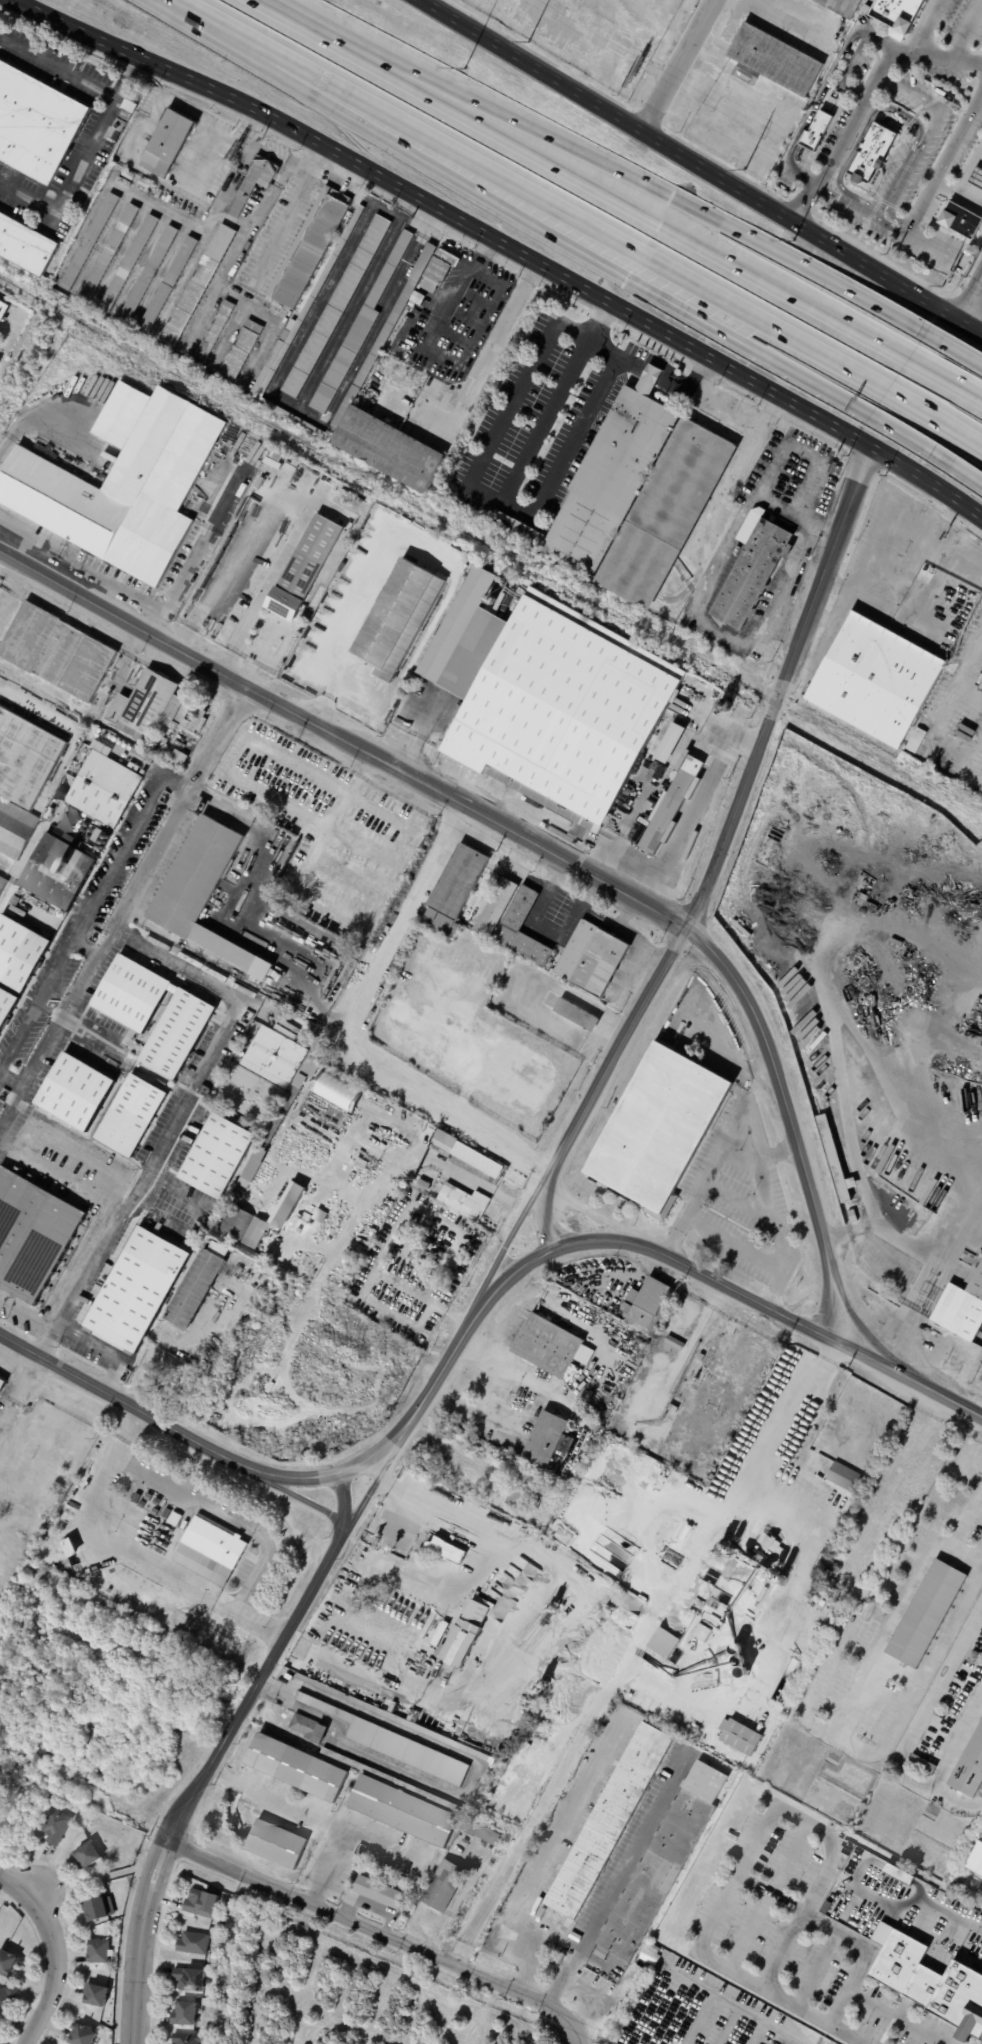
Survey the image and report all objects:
building: (841, 7)
road: (190, 13)
building: (896, 13)
road: (315, 27)
road: (966, 29)
road: (61, 37)
road: (248, 47)
road: (853, 57)
road: (946, 57)
building: (775, 60)
road: (57, 64)
road: (676, 67)
road: (132, 70)
building: (742, 76)
building: (939, 93)
road: (191, 95)
building: (127, 103)
road: (861, 105)
road: (813, 109)
building: (39, 117)
road: (252, 123)
road: (146, 124)
road: (246, 127)
building: (816, 132)
parking lot: (899, 133)
road: (925, 137)
road: (282, 139)
building: (168, 141)
road: (857, 142)
road: (204, 153)
road: (276, 153)
building: (870, 156)
road: (77, 159)
road: (319, 160)
road: (331, 165)
road: (698, 170)
building: (129, 175)
building: (975, 179)
building: (145, 183)
building: (254, 183)
road: (929, 187)
road: (377, 190)
road: (656, 190)
road: (411, 194)
road: (961, 198)
building: (253, 202)
road: (858, 208)
road: (419, 213)
road: (641, 214)
road: (891, 216)
building: (961, 221)
road: (284, 224)
road: (459, 235)
building: (91, 238)
building: (26, 246)
building: (308, 248)
road: (484, 249)
building: (111, 250)
road: (234, 252)
road: (635, 254)
building: (129, 261)
road: (507, 261)
building: (149, 271)
road: (613, 272)
road: (531, 275)
building: (169, 284)
building: (198, 285)
road: (566, 294)
road: (970, 302)
building: (337, 305)
building: (3, 311)
building: (548, 314)
road: (603, 314)
building: (216, 329)
building: (359, 329)
road: (427, 341)
road: (652, 342)
building: (241, 349)
building: (388, 349)
road: (19, 352)
building: (402, 354)
road: (961, 354)
building: (275, 362)
road: (704, 370)
road: (475, 373)
road: (672, 385)
road: (952, 386)
road: (740, 390)
road: (771, 408)
road: (39, 414)
road: (743, 423)
road: (817, 432)
building: (274, 456)
road: (864, 462)
road: (896, 462)
building: (270, 463)
building: (294, 463)
building: (269, 470)
road: (966, 474)
building: (253, 479)
building: (122, 481)
road: (905, 484)
road: (299, 491)
building: (634, 495)
road: (937, 504)
road: (775, 505)
road: (514, 506)
road: (745, 507)
road: (954, 515)
road: (973, 528)
road: (939, 545)
road: (201, 546)
railway: (491, 548)
road: (80, 565)
building: (751, 569)
building: (300, 576)
road: (837, 582)
road: (779, 583)
road: (851, 591)
building: (506, 600)
road: (820, 617)
building: (395, 618)
road: (338, 632)
building: (58, 652)
building: (752, 658)
building: (756, 659)
building: (873, 680)
building: (546, 699)
building: (156, 708)
road: (943, 718)
building: (102, 733)
building: (164, 739)
building: (915, 740)
building: (121, 743)
building: (153, 746)
building: (117, 747)
building: (162, 756)
building: (26, 758)
building: (180, 758)
building: (653, 768)
building: (105, 788)
building: (676, 792)
road: (692, 808)
building: (15, 828)
road: (728, 832)
road: (537, 852)
building: (58, 870)
building: (2, 883)
building: (459, 890)
building: (204, 894)
building: (498, 907)
road: (121, 908)
road: (235, 908)
road: (89, 911)
building: (520, 912)
road: (401, 920)
road: (84, 947)
building: (19, 952)
building: (597, 960)
road: (216, 988)
building: (435, 989)
building: (445, 993)
building: (6, 1005)
building: (577, 1015)
building: (186, 1020)
road: (722, 1052)
road: (10, 1079)
building: (339, 1081)
building: (335, 1088)
building: (300, 1089)
building: (77, 1092)
road: (437, 1097)
building: (323, 1113)
building: (132, 1115)
road: (748, 1126)
building: (654, 1127)
building: (446, 1140)
road: (161, 1147)
road: (775, 1155)
building: (219, 1156)
road: (411, 1158)
building: (833, 1162)
building: (364, 1163)
building: (252, 1171)
building: (427, 1185)
building: (438, 1187)
road: (178, 1194)
road: (738, 1200)
building: (465, 1201)
road: (126, 1211)
road: (160, 1217)
building: (851, 1217)
building: (237, 1223)
road: (542, 1223)
building: (282, 1228)
road: (885, 1230)
building: (258, 1234)
building: (32, 1235)
building: (291, 1241)
road: (731, 1247)
road: (510, 1248)
road: (508, 1271)
road: (935, 1285)
building: (197, 1287)
building: (136, 1290)
building: (567, 1301)
road: (764, 1303)
building: (647, 1305)
building: (961, 1309)
road: (28, 1313)
road: (167, 1345)
building: (672, 1345)
building: (550, 1346)
road: (97, 1350)
building: (645, 1361)
building: (981, 1374)
building: (2, 1383)
road: (22, 1387)
road: (486, 1397)
building: (672, 1408)
road: (793, 1408)
road: (179, 1419)
road: (981, 1419)
building: (545, 1439)
building: (727, 1460)
building: (843, 1477)
building: (522, 1487)
road: (461, 1519)
road: (965, 1520)
building: (920, 1529)
building: (767, 1542)
building: (211, 1548)
building: (444, 1550)
building: (778, 1550)
road: (94, 1555)
building: (670, 1561)
road: (324, 1570)
building: (926, 1614)
building: (699, 1633)
building: (464, 1637)
building: (436, 1641)
building: (661, 1643)
road: (893, 1671)
road: (853, 1688)
road: (923, 1715)
building: (393, 1719)
road: (962, 1722)
building: (300, 1725)
building: (316, 1734)
building: (739, 1737)
road: (828, 1737)
building: (393, 1744)
building: (921, 1765)
building: (968, 1767)
building: (296, 1768)
building: (388, 1780)
road: (465, 1790)
building: (979, 1793)
building: (952, 1795)
building: (403, 1811)
road: (772, 1813)
road: (316, 1816)
building: (4, 1819)
building: (607, 1823)
building: (56, 1826)
building: (480, 1833)
building: (276, 1844)
road: (386, 1846)
road: (546, 1855)
building: (89, 1856)
building: (976, 1860)
building: (663, 1862)
building: (899, 1875)
road: (615, 1884)
building: (442, 1886)
road: (29, 1889)
building: (376, 1893)
road: (767, 1895)
building: (204, 1902)
building: (98, 1909)
road: (901, 1909)
building: (221, 1925)
road: (368, 1931)
road: (136, 1941)
building: (194, 1943)
building: (652, 1947)
building: (100, 1952)
road: (867, 1952)
road: (51, 1955)
building: (9, 1962)
road: (814, 1965)
building: (193, 1978)
building: (932, 1984)
building: (8, 1993)
building: (98, 1995)
road: (732, 2003)
road: (838, 2007)
road: (666, 2011)
building: (186, 2012)
road: (815, 2015)
building: (3, 2018)
road: (698, 2018)
road: (725, 2025)
building: (0, 2027)
road: (756, 2032)
building: (85, 2035)
road: (572, 2035)
building: (189, 2038)

